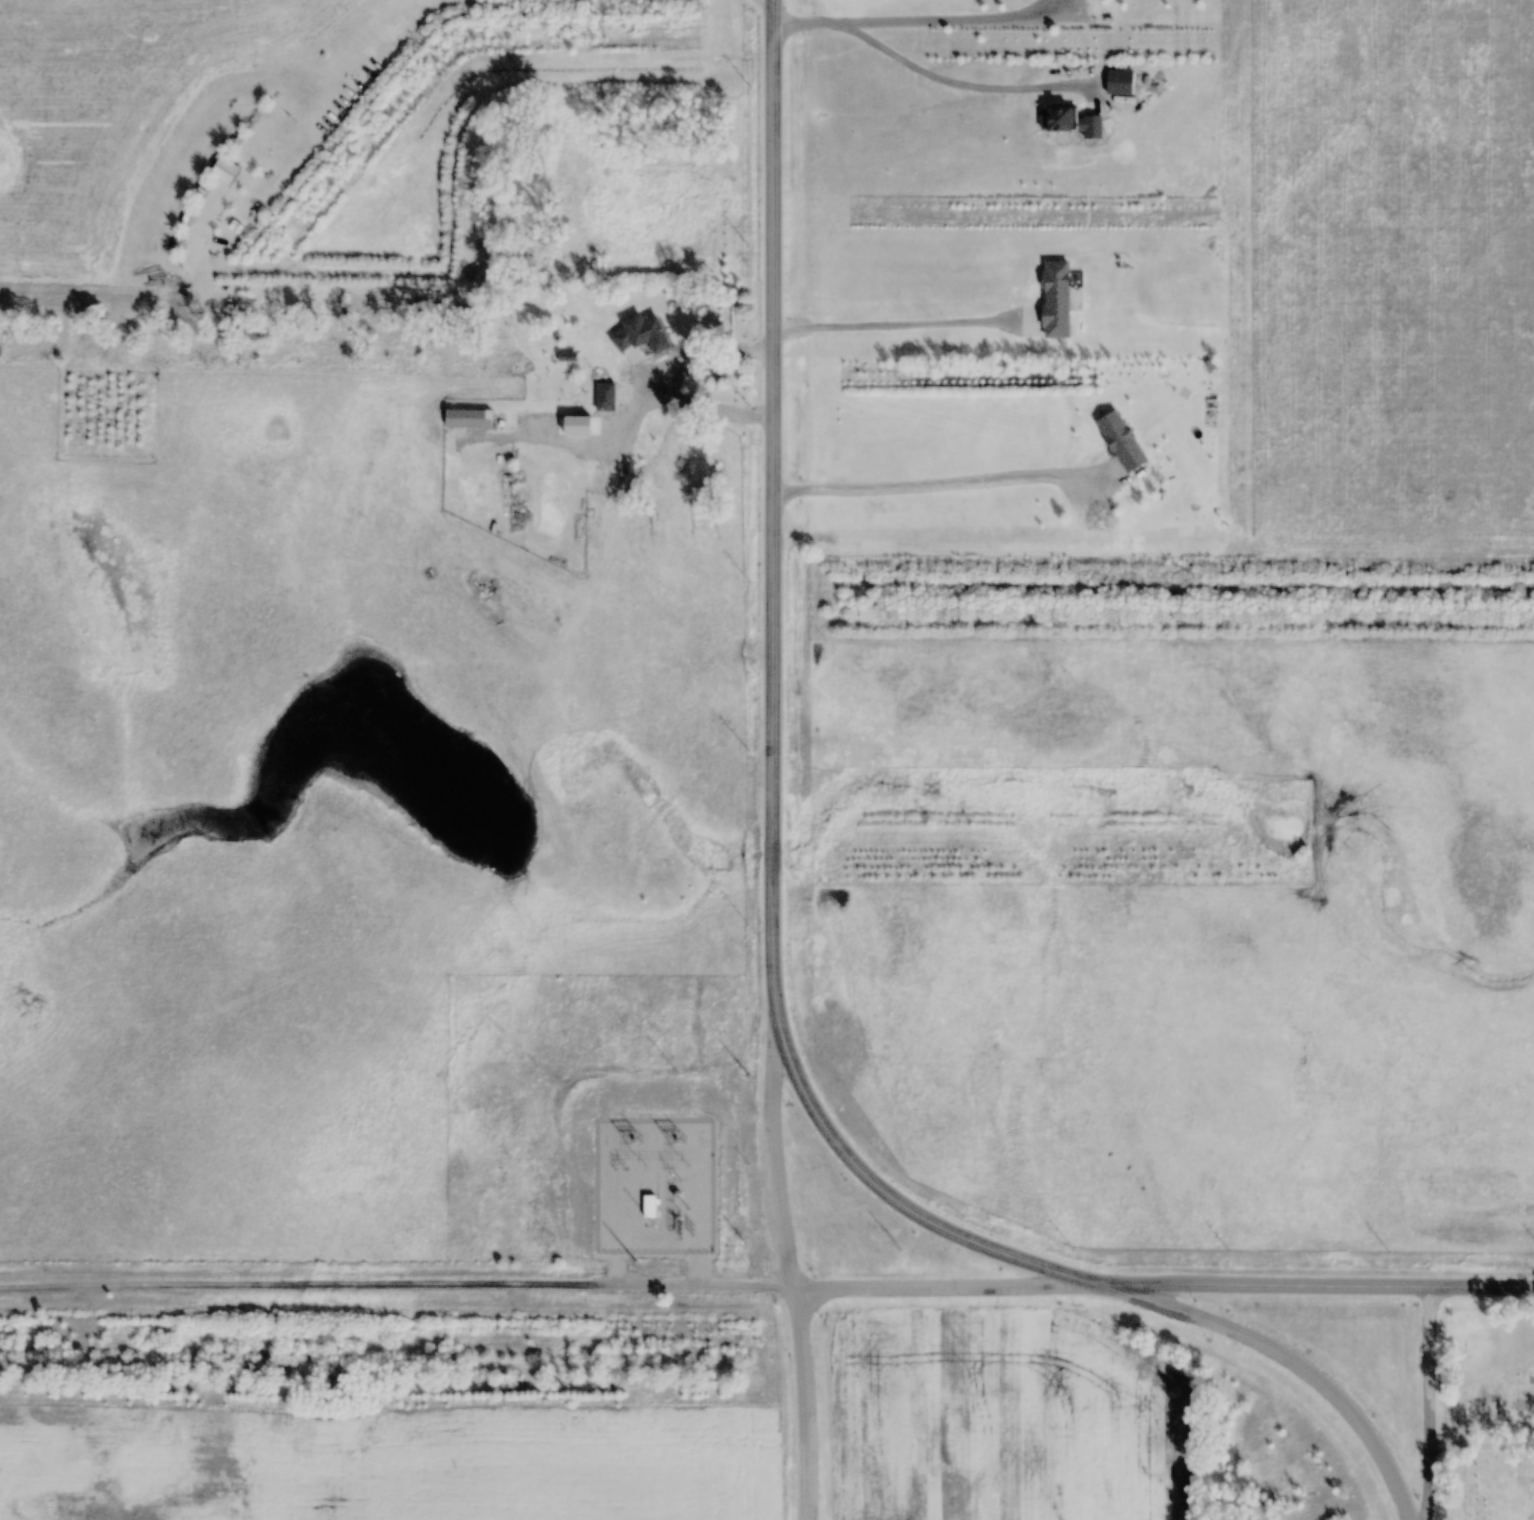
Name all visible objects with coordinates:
building: (1116, 80)
building: (1058, 119)
building: (640, 335)
building: (567, 356)
building: (605, 397)
building: (469, 419)
building: (546, 420)
road: (776, 717)
road: (786, 1113)
road: (1308, 1276)
road: (939, 1278)
road: (398, 1282)
road: (1279, 1357)
road: (1433, 1399)
road: (807, 1400)

